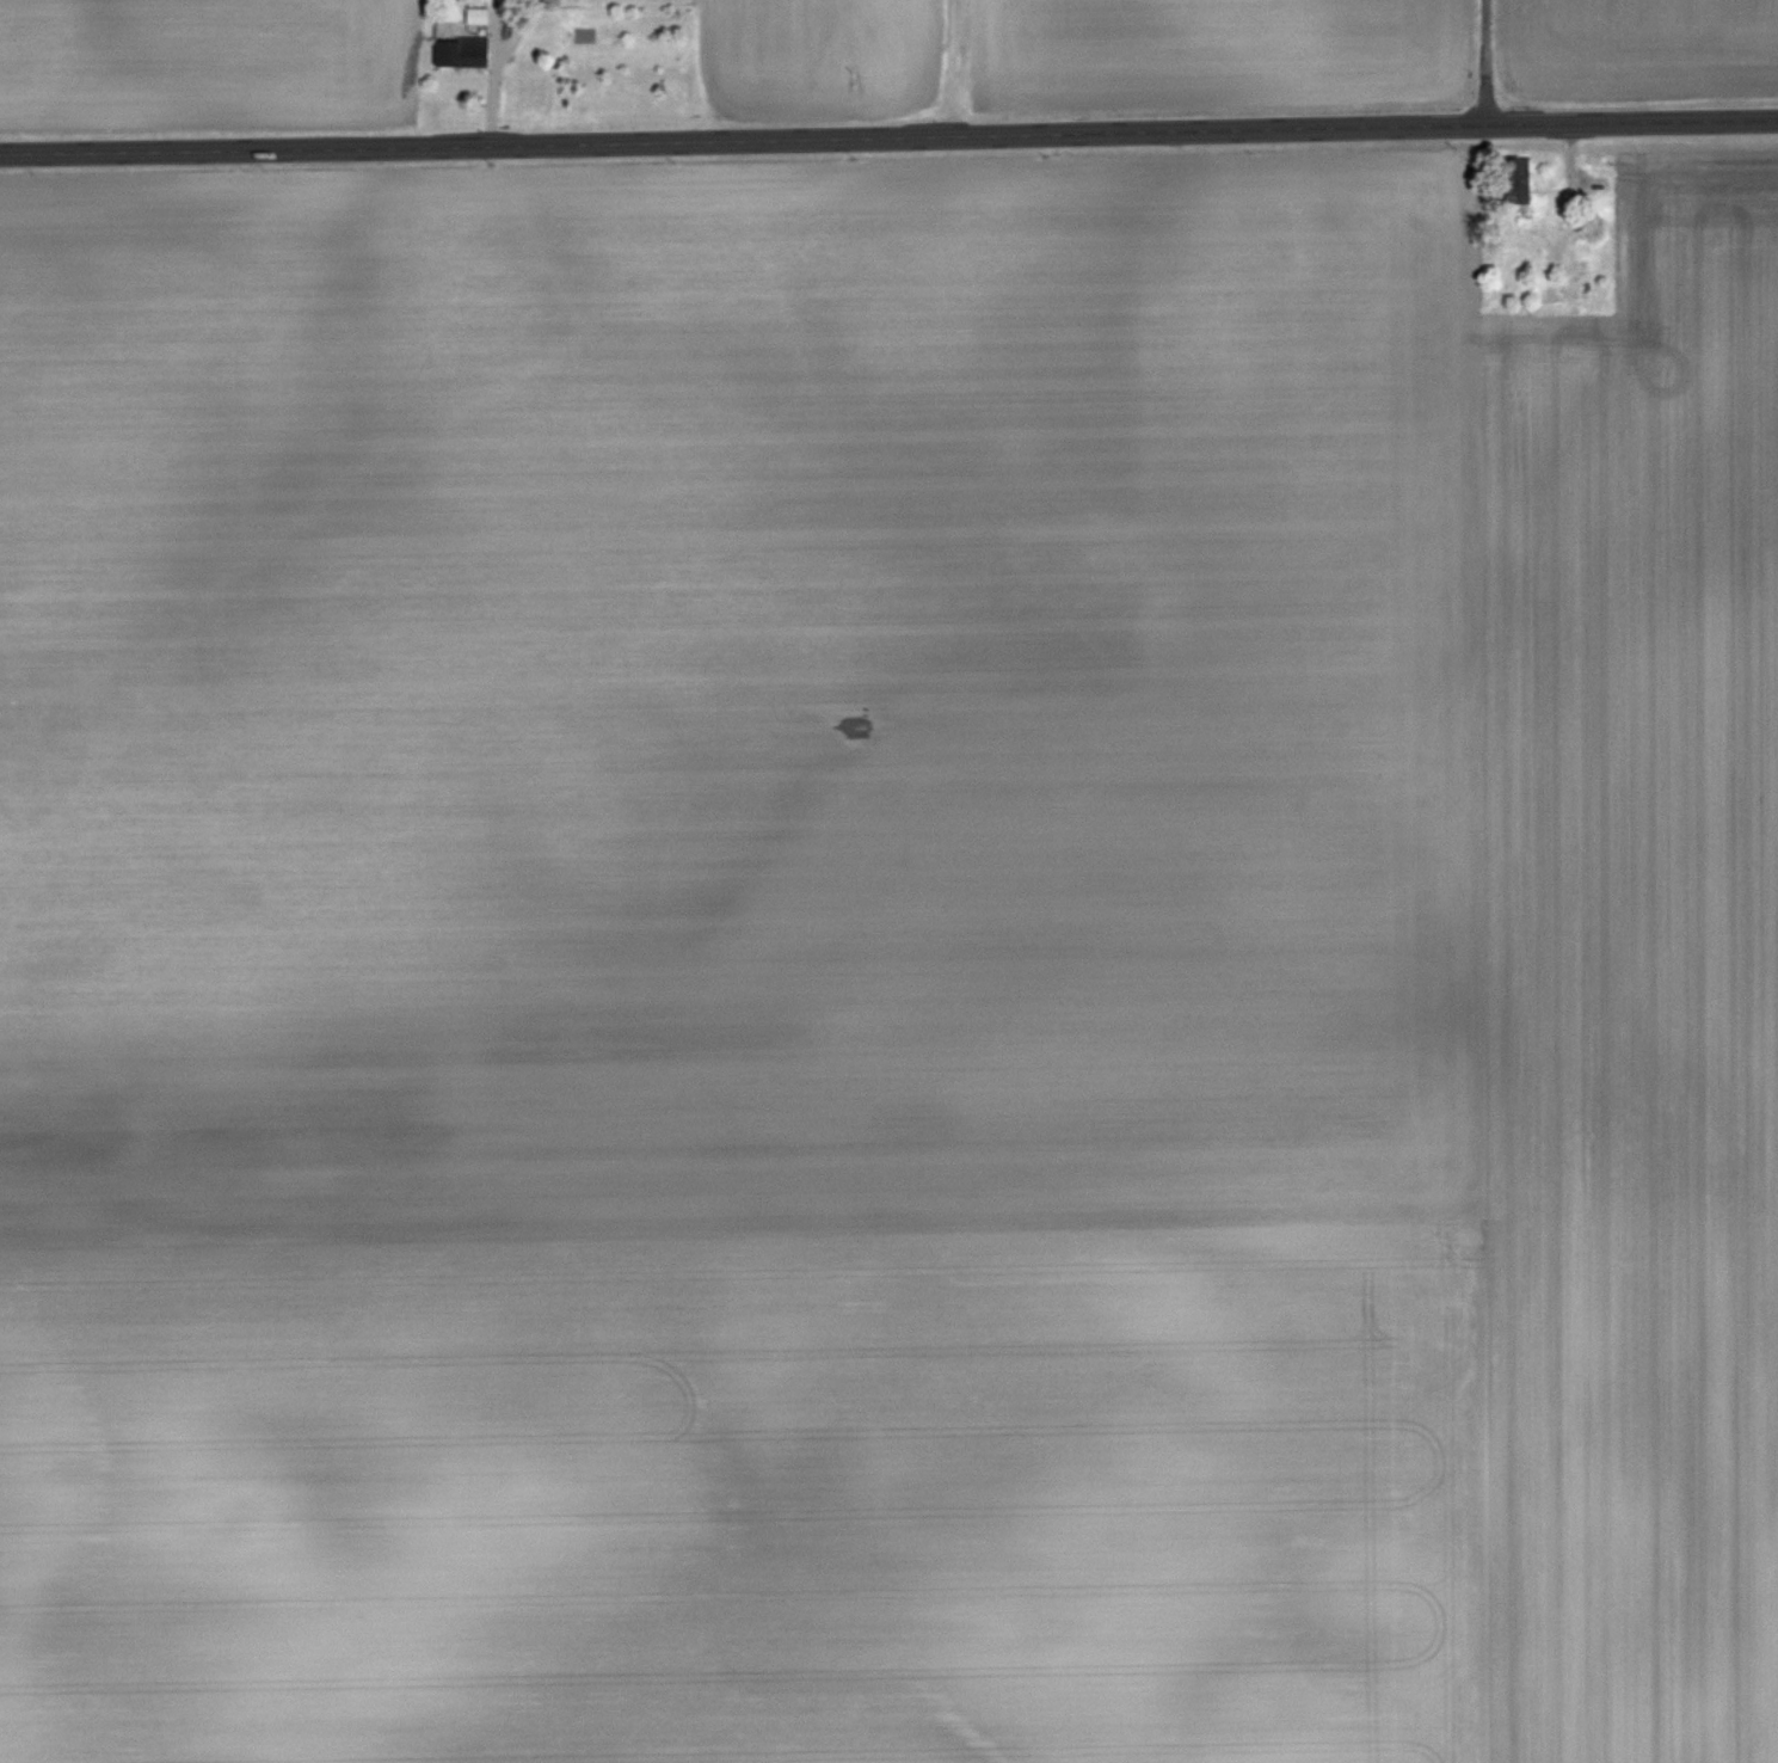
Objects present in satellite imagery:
building: (463, 51)
road: (1488, 61)
road: (949, 68)
road: (888, 136)
building: (1520, 180)

